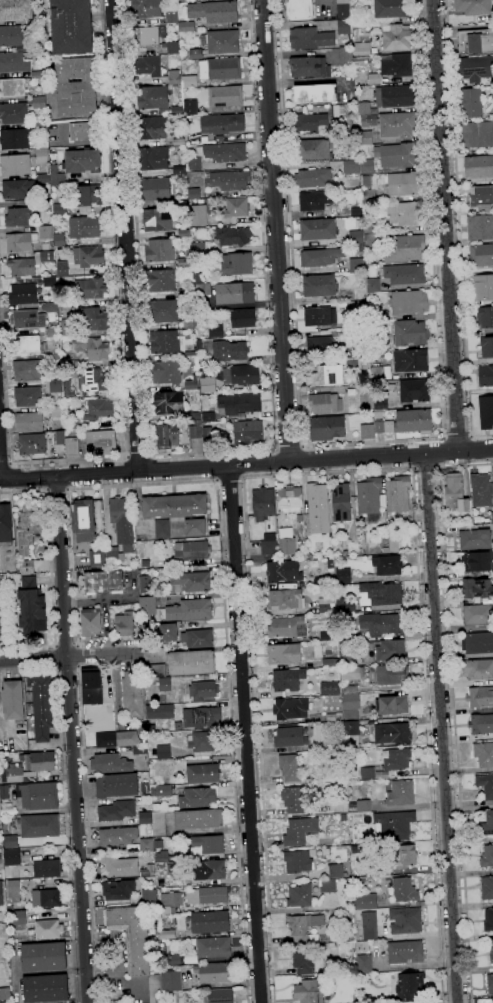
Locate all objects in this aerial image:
building: (473, 7)
building: (390, 8)
building: (145, 9)
building: (343, 9)
building: (15, 10)
building: (299, 10)
building: (214, 12)
building: (38, 15)
building: (171, 17)
building: (358, 22)
building: (35, 24)
building: (72, 26)
building: (186, 27)
building: (343, 27)
building: (12, 36)
building: (148, 37)
building: (310, 38)
building: (396, 38)
building: (475, 41)
building: (223, 42)
building: (171, 47)
building: (361, 49)
building: (195, 54)
building: (345, 57)
building: (361, 61)
building: (13, 63)
building: (396, 65)
building: (148, 66)
building: (309, 67)
building: (475, 68)
building: (219, 69)
building: (37, 76)
building: (174, 78)
building: (374, 79)
building: (189, 82)
building: (12, 87)
building: (76, 87)
building: (315, 93)
building: (394, 96)
building: (225, 97)
building: (153, 99)
building: (38, 101)
building: (470, 103)
building: (190, 107)
building: (177, 110)
building: (337, 111)
building: (13, 113)
building: (365, 114)
building: (310, 122)
building: (221, 124)
building: (396, 125)
building: (40, 127)
building: (153, 128)
building: (83, 132)
building: (477, 134)
building: (219, 138)
building: (337, 138)
building: (364, 138)
building: (15, 139)
building: (178, 142)
building: (43, 145)
building: (312, 150)
building: (217, 155)
building: (397, 155)
building: (42, 156)
building: (154, 158)
building: (81, 161)
building: (15, 165)
building: (367, 166)
building: (351, 167)
building: (478, 167)
building: (179, 171)
building: (56, 176)
building: (312, 178)
building: (230, 180)
building: (368, 182)
building: (352, 183)
building: (403, 184)
building: (17, 189)
building: (156, 189)
building: (194, 194)
building: (88, 195)
building: (368, 196)
building: (481, 198)
building: (181, 201)
building: (315, 201)
building: (44, 205)
building: (236, 208)
building: (59, 210)
building: (356, 212)
building: (404, 214)
building: (199, 215)
building: (17, 217)
building: (157, 220)
road: (445, 226)
building: (84, 227)
building: (369, 228)
building: (479, 228)
road: (459, 229)
road: (276, 230)
building: (318, 230)
building: (45, 232)
building: (183, 234)
road: (125, 235)
building: (233, 236)
building: (356, 237)
building: (59, 240)
building: (373, 240)
building: (20, 242)
building: (197, 248)
building: (360, 248)
building: (404, 249)
building: (158, 251)
building: (46, 256)
building: (88, 256)
building: (480, 256)
building: (320, 258)
building: (184, 262)
building: (201, 263)
building: (236, 264)
building: (357, 265)
building: (21, 267)
building: (62, 269)
building: (404, 274)
building: (200, 277)
building: (160, 281)
building: (49, 282)
building: (319, 286)
building: (373, 286)
building: (482, 288)
building: (89, 289)
building: (202, 290)
building: (185, 292)
building: (234, 293)
building: (22, 294)
building: (408, 303)
building: (50, 307)
building: (162, 311)
building: (374, 314)
building: (320, 316)
building: (485, 317)
building: (93, 318)
building: (27, 319)
building: (242, 319)
building: (189, 324)
building: (64, 327)
building: (215, 331)
building: (52, 332)
building: (410, 333)
building: (164, 342)
building: (26, 344)
building: (319, 346)
building: (384, 347)
building: (487, 347)
building: (93, 349)
building: (229, 351)
building: (190, 355)
building: (54, 360)
building: (410, 361)
building: (67, 364)
building: (27, 370)
building: (166, 373)
road: (121, 374)
building: (377, 374)
building: (244, 375)
building: (328, 375)
building: (485, 376)
building: (92, 381)
building: (190, 385)
building: (207, 385)
building: (55, 386)
building: (66, 389)
building: (414, 391)
building: (28, 396)
building: (168, 403)
building: (239, 404)
building: (325, 404)
building: (98, 409)
building: (56, 411)
building: (485, 412)
building: (194, 416)
building: (208, 416)
building: (28, 422)
building: (405, 422)
building: (71, 425)
building: (327, 428)
building: (195, 431)
building: (366, 431)
building: (247, 432)
building: (167, 435)
building: (60, 437)
road: (457, 437)
building: (101, 443)
road: (369, 443)
building: (31, 444)
building: (71, 446)
road: (288, 446)
road: (208, 451)
road: (137, 454)
road: (61, 460)
road: (3, 463)
road: (8, 463)
road: (246, 464)
road: (426, 468)
road: (0, 469)
road: (333, 473)
road: (11, 475)
road: (230, 480)
road: (64, 482)
road: (15, 490)
road: (46, 490)
road: (56, 490)
road: (67, 490)
building: (481, 490)
building: (455, 493)
building: (397, 494)
building: (370, 498)
building: (289, 499)
building: (341, 503)
building: (262, 504)
building: (174, 506)
building: (317, 508)
building: (492, 518)
building: (121, 519)
building: (84, 520)
building: (5, 523)
building: (195, 527)
building: (27, 528)
building: (162, 529)
building: (475, 540)
building: (286, 541)
building: (268, 545)
building: (393, 545)
building: (191, 550)
building: (119, 552)
building: (476, 562)
building: (144, 563)
building: (330, 563)
building: (387, 565)
building: (26, 567)
road: (50, 572)
building: (283, 572)
building: (343, 576)
building: (103, 582)
building: (190, 582)
building: (1, 584)
building: (477, 589)
road: (222, 590)
building: (379, 594)
building: (286, 599)
building: (326, 605)
building: (343, 606)
building: (31, 607)
building: (186, 611)
building: (147, 614)
building: (477, 614)
building: (90, 623)
building: (124, 624)
building: (381, 624)
building: (0, 627)
building: (287, 627)
building: (167, 633)
building: (347, 635)
building: (325, 636)
building: (197, 638)
building: (477, 643)
road: (55, 646)
road: (67, 647)
road: (77, 647)
building: (343, 647)
building: (390, 650)
building: (317, 651)
building: (283, 654)
road: (57, 656)
road: (68, 656)
road: (77, 656)
building: (347, 659)
building: (190, 663)
building: (329, 663)
road: (67, 665)
road: (78, 666)
road: (57, 667)
building: (478, 669)
building: (154, 671)
building: (351, 673)
building: (391, 675)
building: (287, 680)
road: (116, 683)
building: (164, 684)
building: (91, 686)
building: (328, 688)
building: (349, 690)
building: (202, 691)
building: (132, 695)
building: (480, 697)
building: (12, 701)
building: (392, 705)
building: (42, 706)
building: (351, 707)
road: (453, 707)
building: (290, 709)
building: (159, 712)
building: (199, 717)
building: (330, 717)
building: (481, 724)
building: (177, 726)
building: (150, 728)
road: (440, 728)
road: (245, 734)
building: (350, 734)
building: (392, 735)
building: (289, 737)
road: (71, 739)
building: (116, 739)
building: (202, 742)
building: (139, 749)
building: (163, 752)
building: (483, 755)
building: (396, 759)
building: (39, 762)
building: (110, 764)
building: (289, 768)
building: (202, 773)
building: (367, 773)
building: (15, 774)
building: (117, 785)
building: (485, 786)
building: (161, 790)
building: (4, 793)
building: (400, 793)
building: (39, 796)
building: (196, 798)
building: (293, 799)
building: (363, 806)
road: (65, 808)
building: (339, 809)
building: (116, 811)
building: (7, 812)
road: (87, 816)
building: (144, 818)
building: (198, 819)
building: (159, 824)
building: (394, 825)
building: (486, 825)
building: (39, 826)
building: (299, 831)
building: (117, 836)
building: (10, 841)
building: (146, 845)
building: (206, 845)
building: (406, 856)
building: (12, 857)
building: (486, 857)
building: (297, 862)
building: (120, 866)
road: (1, 868)
building: (48, 869)
building: (170, 869)
building: (209, 870)
building: (335, 871)
building: (145, 872)
road: (2, 874)
building: (160, 883)
building: (327, 886)
building: (487, 888)
building: (117, 890)
building: (403, 890)
building: (13, 891)
building: (1, 893)
building: (148, 896)
building: (206, 896)
building: (299, 896)
building: (46, 899)
building: (170, 902)
building: (365, 902)
building: (154, 908)
building: (17, 918)
building: (369, 919)
building: (488, 920)
building: (405, 921)
building: (210, 922)
building: (304, 927)
building: (47, 929)
building: (369, 933)
building: (166, 935)
building: (132, 936)
building: (213, 947)
building: (404, 952)
building: (491, 953)
building: (43, 957)
building: (173, 959)
building: (302, 962)
building: (364, 964)
building: (213, 973)
building: (172, 981)
building: (489, 984)
building: (409, 986)
building: (45, 988)
building: (155, 989)
building: (308, 992)
building: (4, 993)
building: (219, 996)

